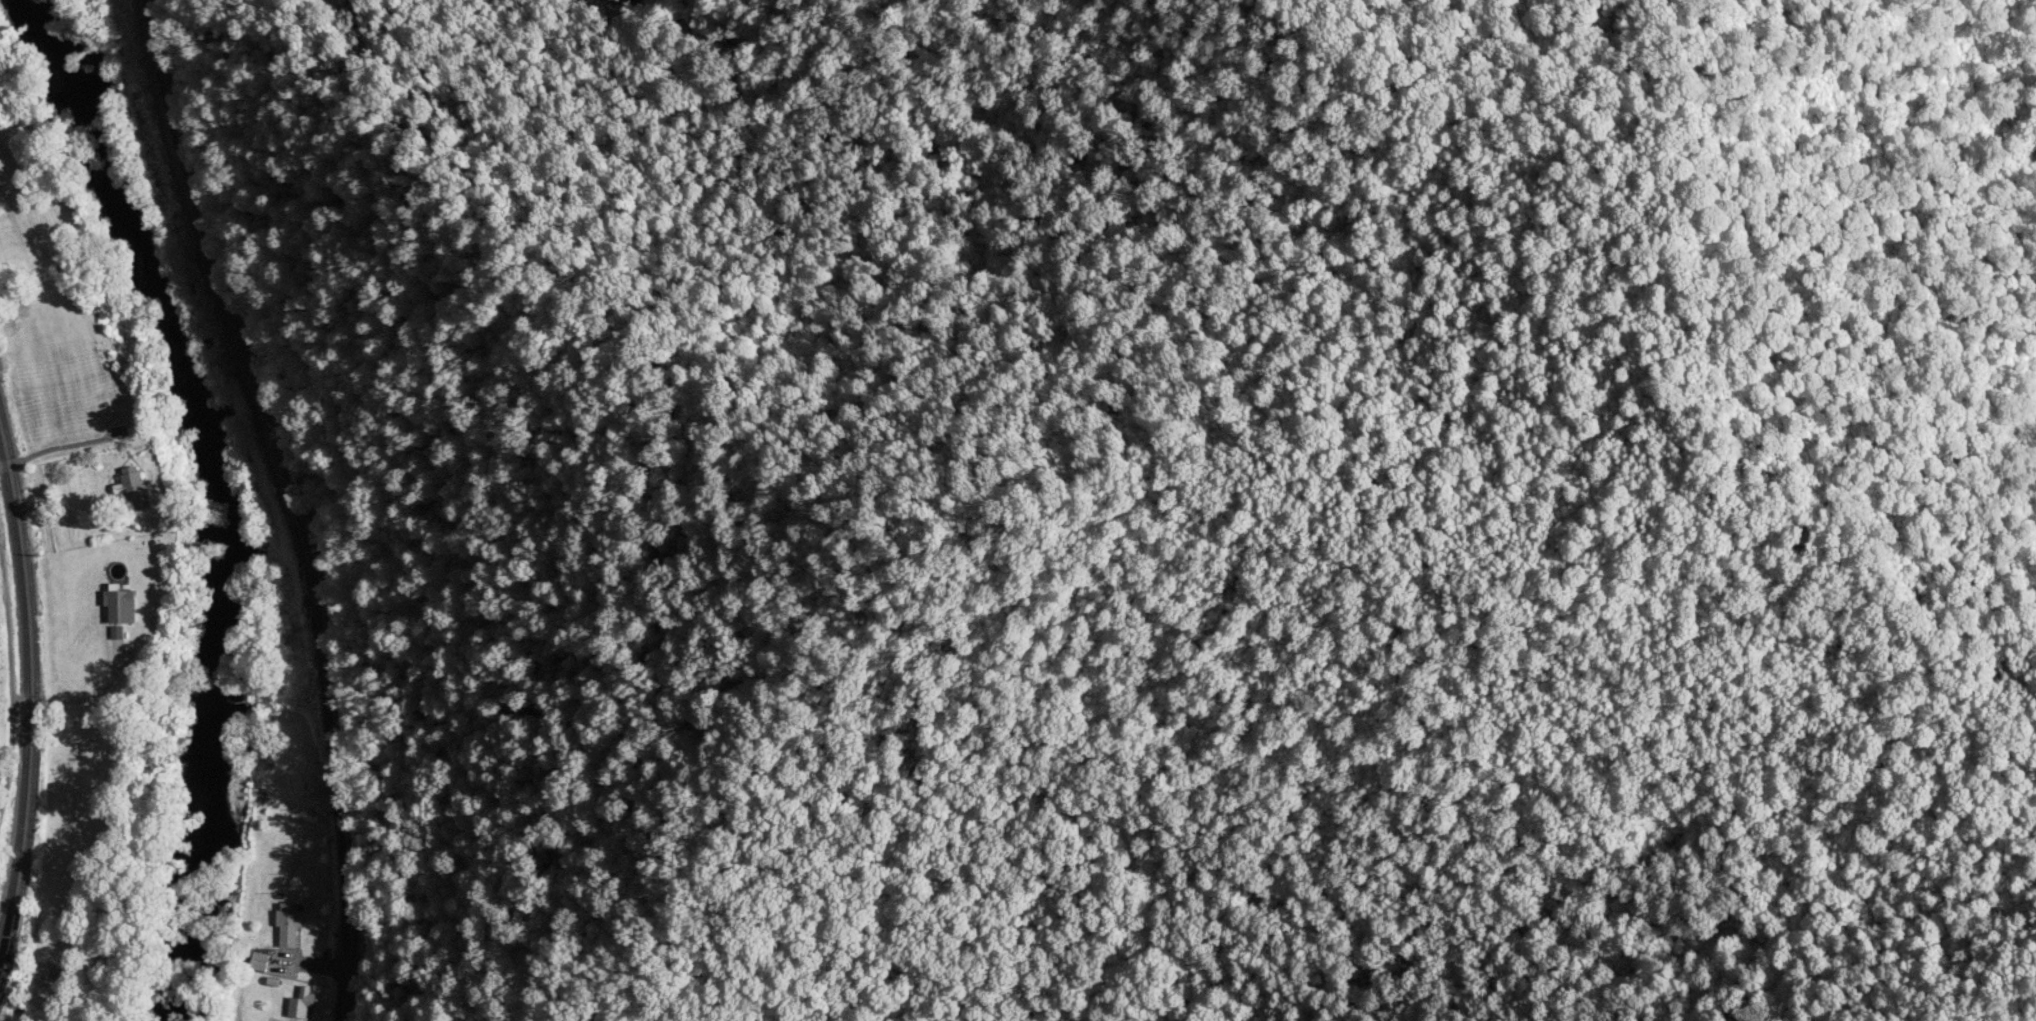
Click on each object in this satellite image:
building: (135, 489)
river: (199, 496)
road: (280, 503)
building: (124, 607)
railway: (37, 683)
road: (11, 697)
building: (282, 925)
building: (296, 1002)

